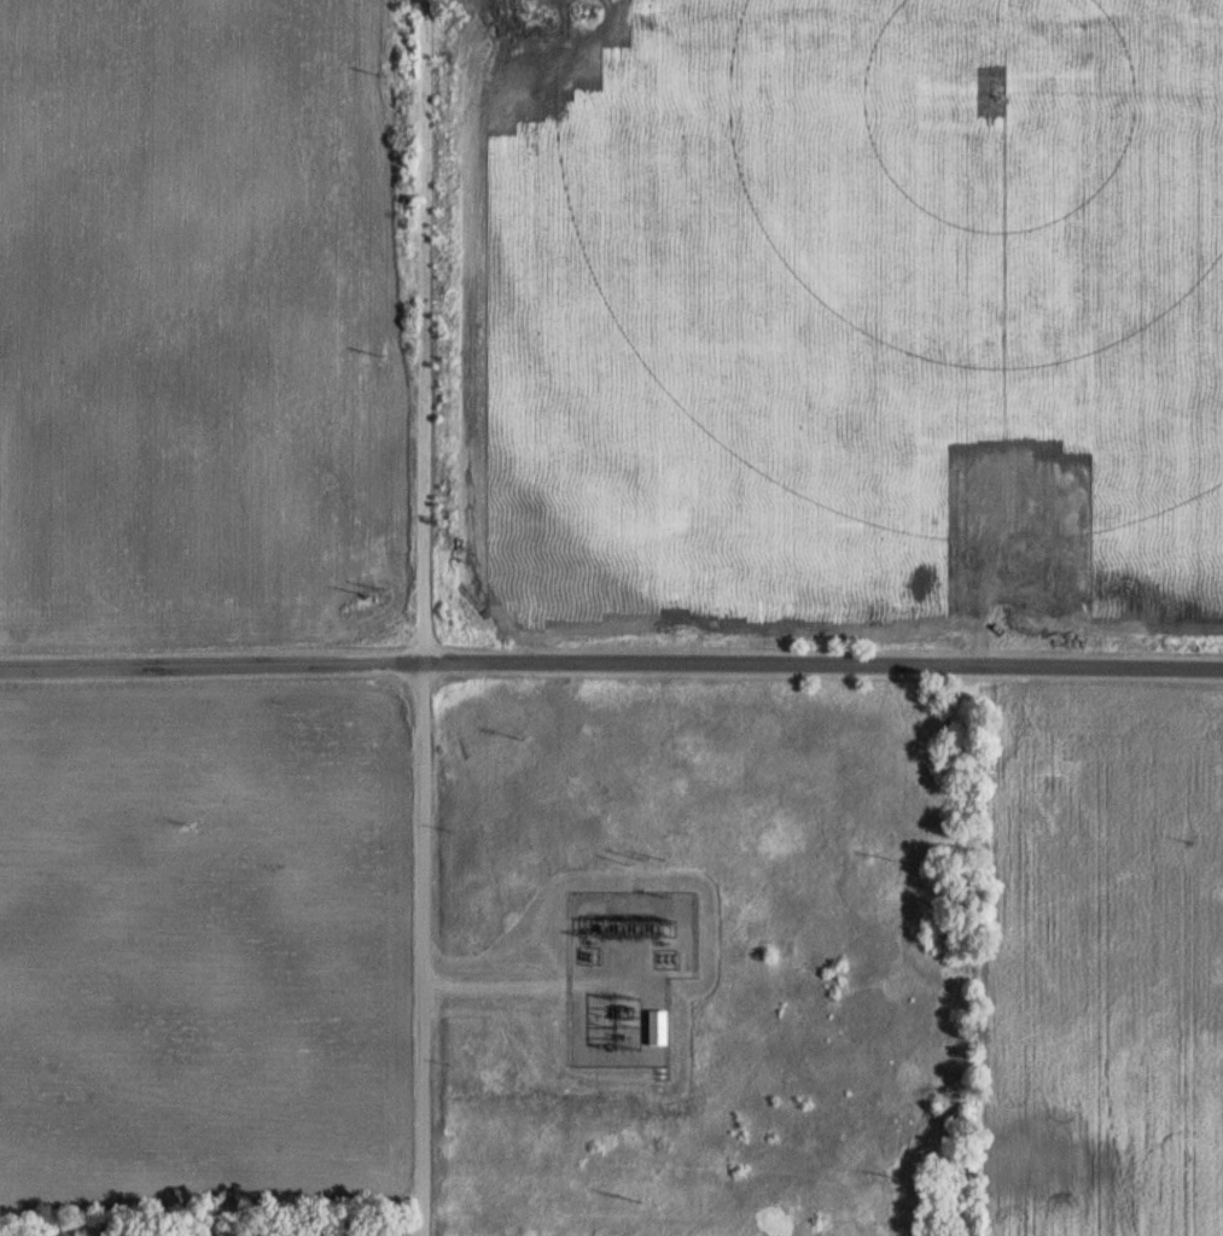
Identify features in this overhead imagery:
building: (997, 478)
building: (1043, 523)
building: (1029, 560)
road: (418, 617)
road: (611, 664)
power substation: (623, 975)
road: (491, 987)
power tower: (625, 1196)

